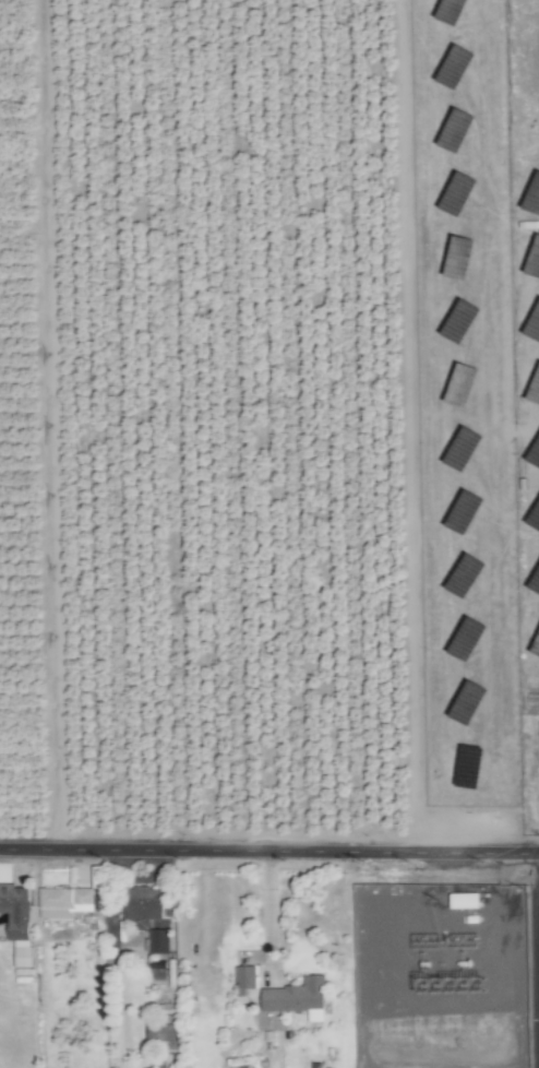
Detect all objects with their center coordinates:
building: (532, 352)
building: (528, 373)
road: (269, 851)
building: (64, 903)
building: (143, 904)
road: (267, 904)
building: (16, 911)
building: (158, 942)
building: (244, 981)
building: (297, 999)

